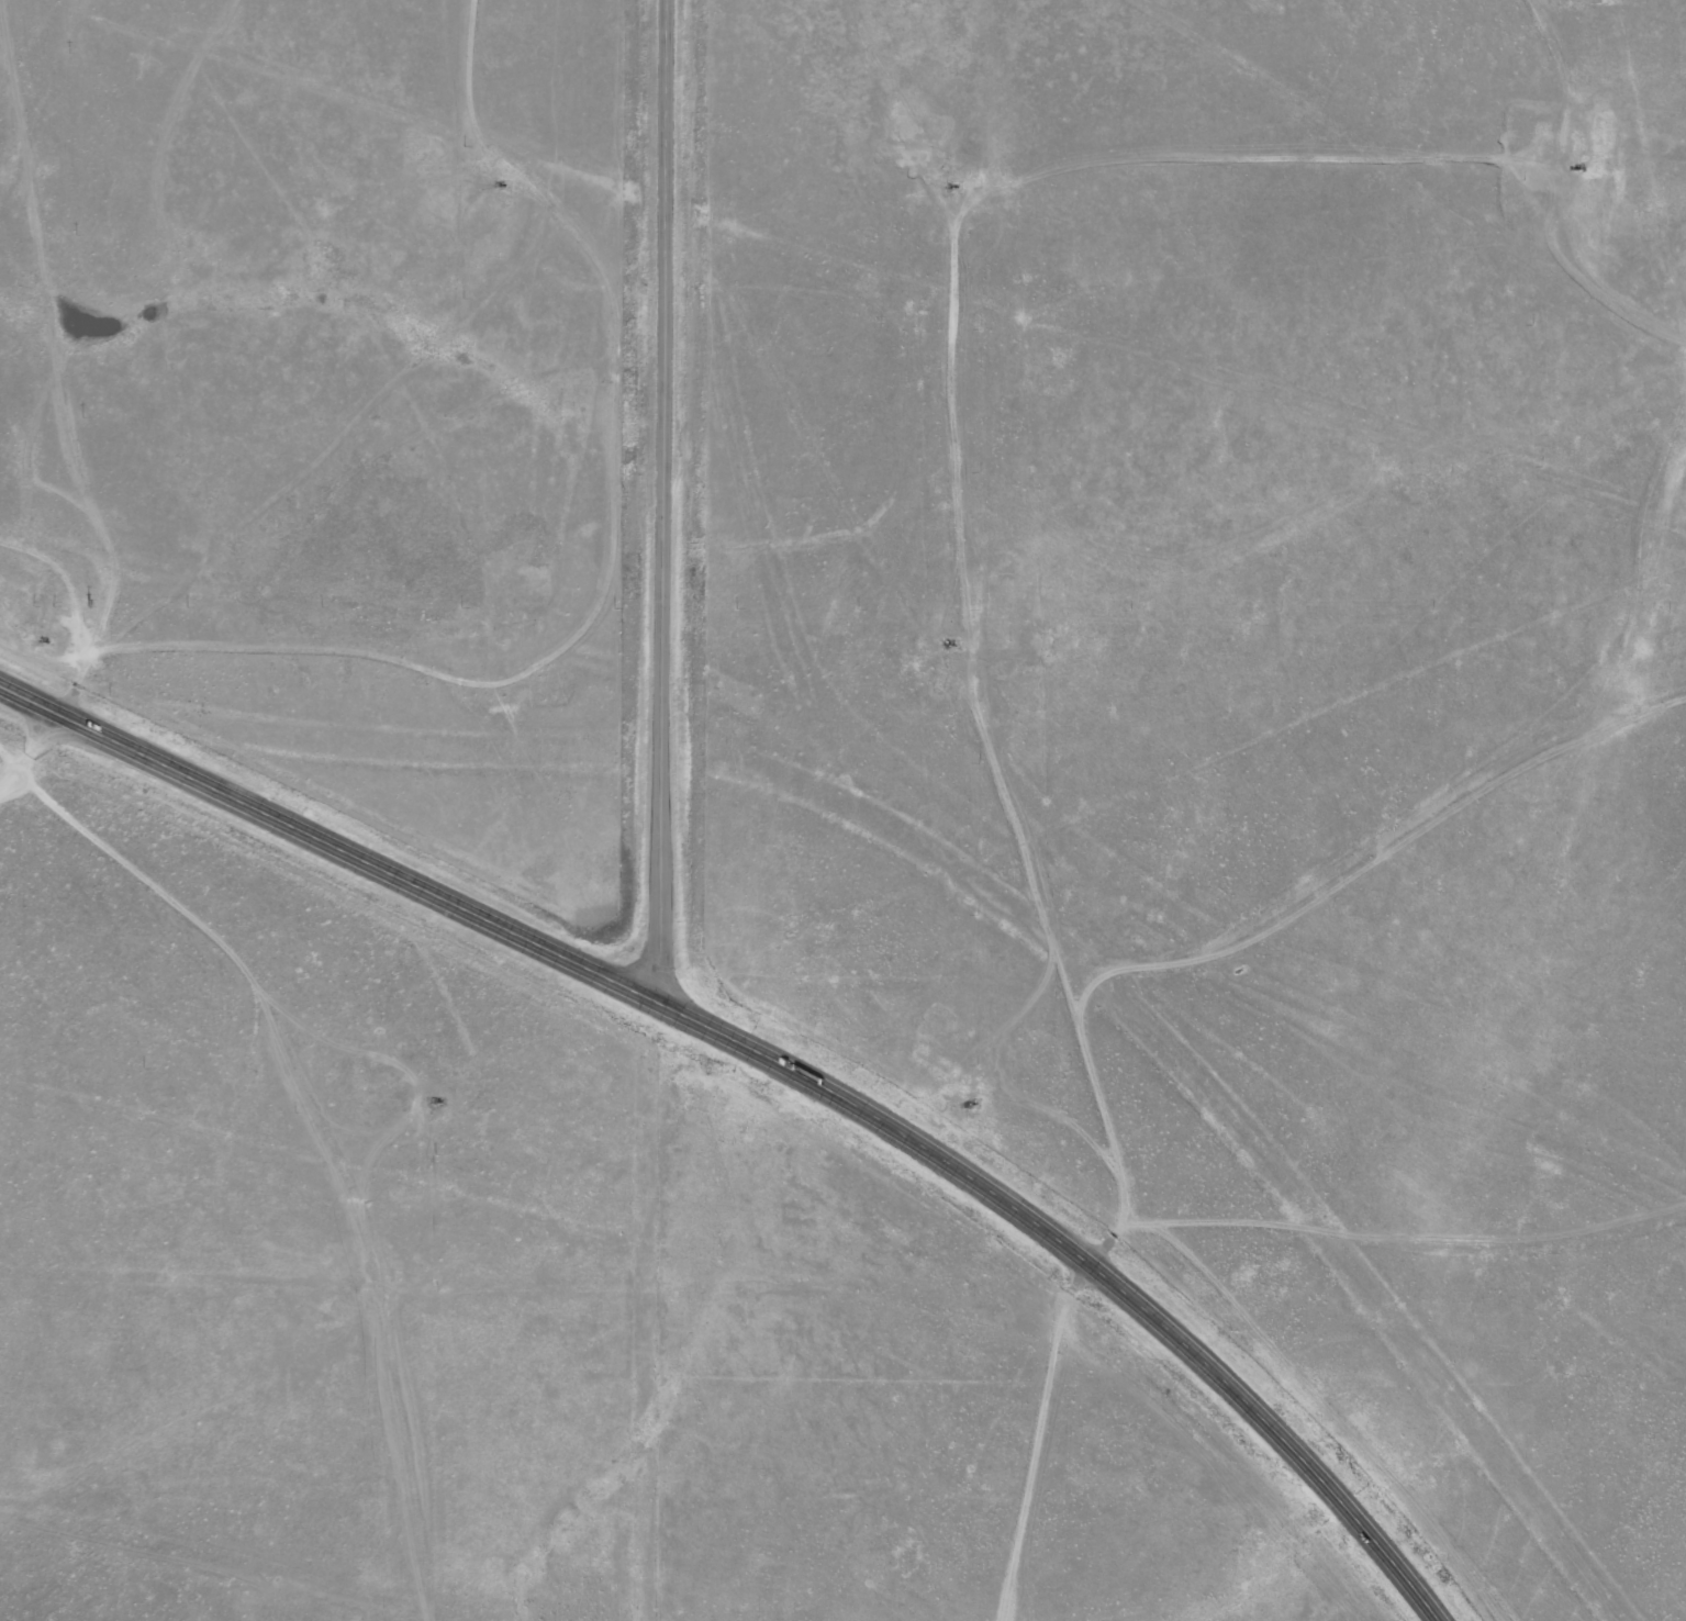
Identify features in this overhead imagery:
road: (114, 452)
road: (661, 499)
road: (784, 1060)
road: (344, 1176)

